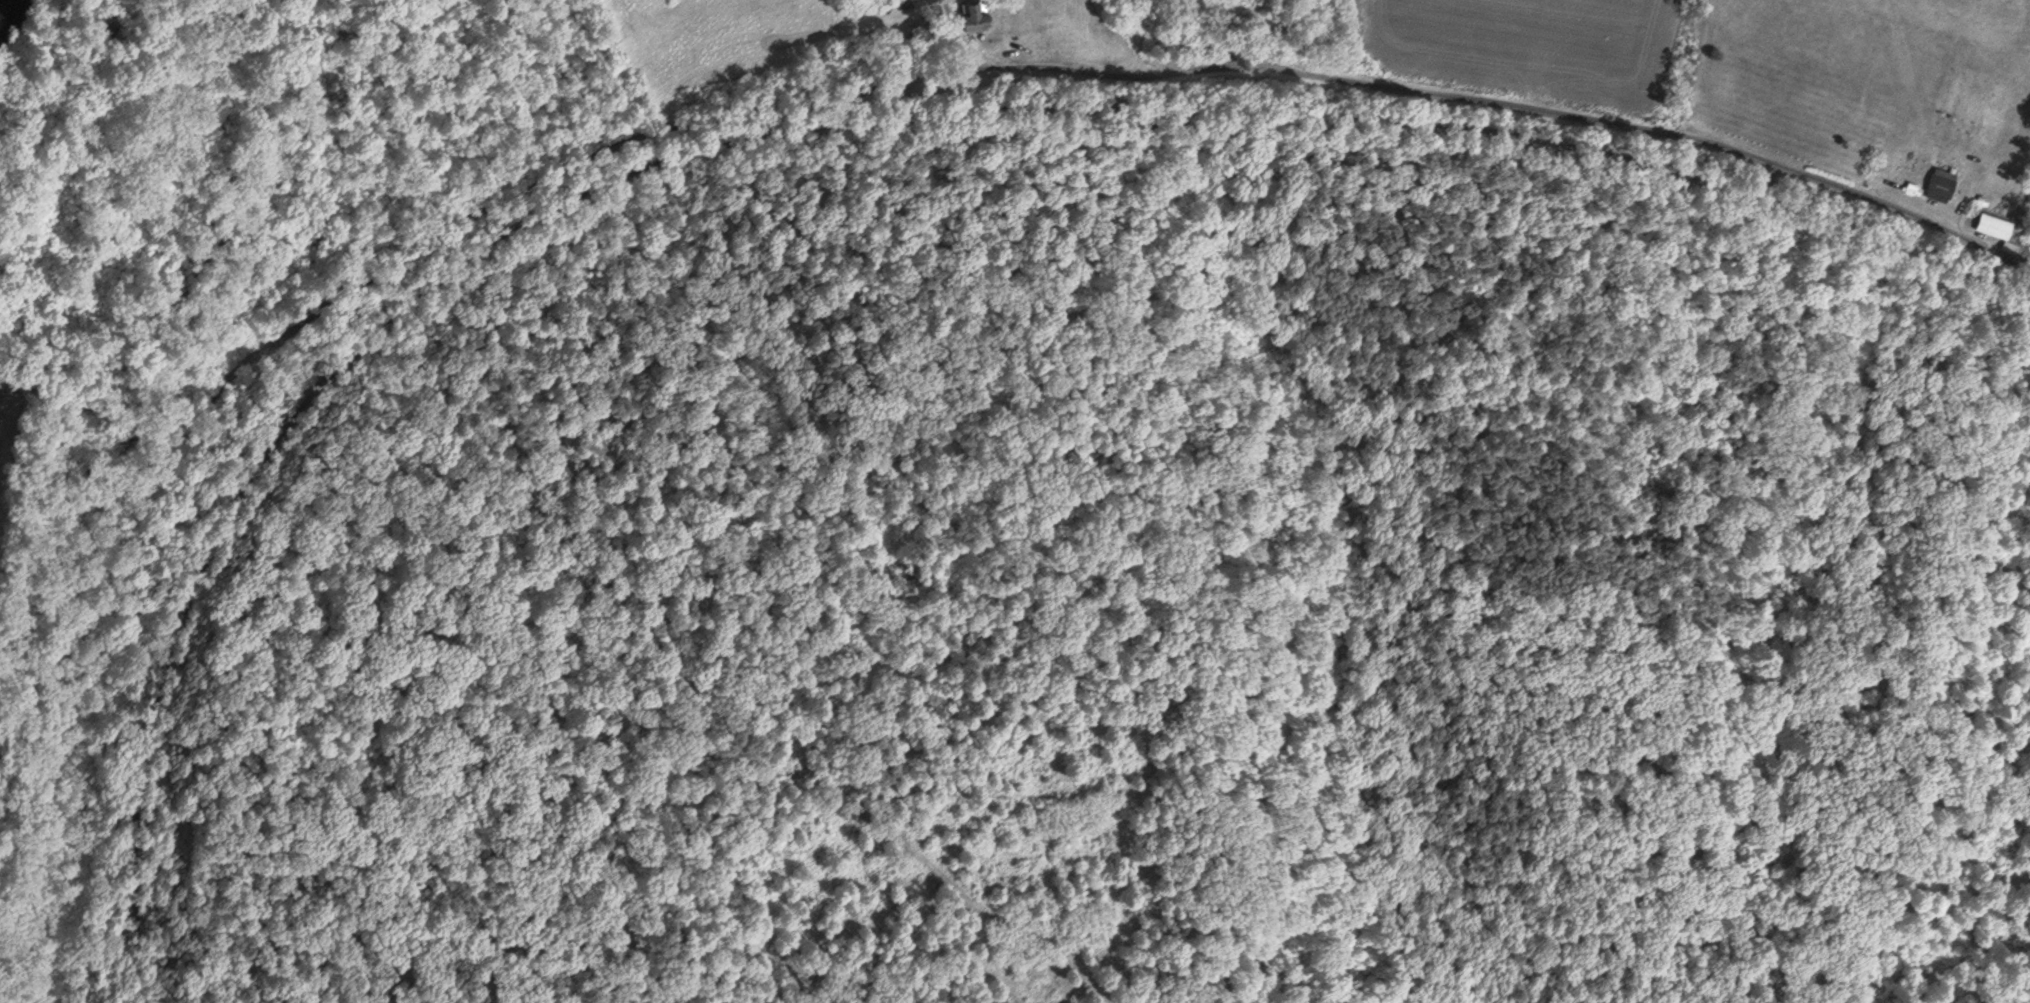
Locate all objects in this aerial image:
building: (973, 15)
road: (899, 87)
road: (1528, 115)
road: (776, 121)
building: (1940, 185)
road: (527, 196)
building: (1996, 229)
road: (274, 446)

